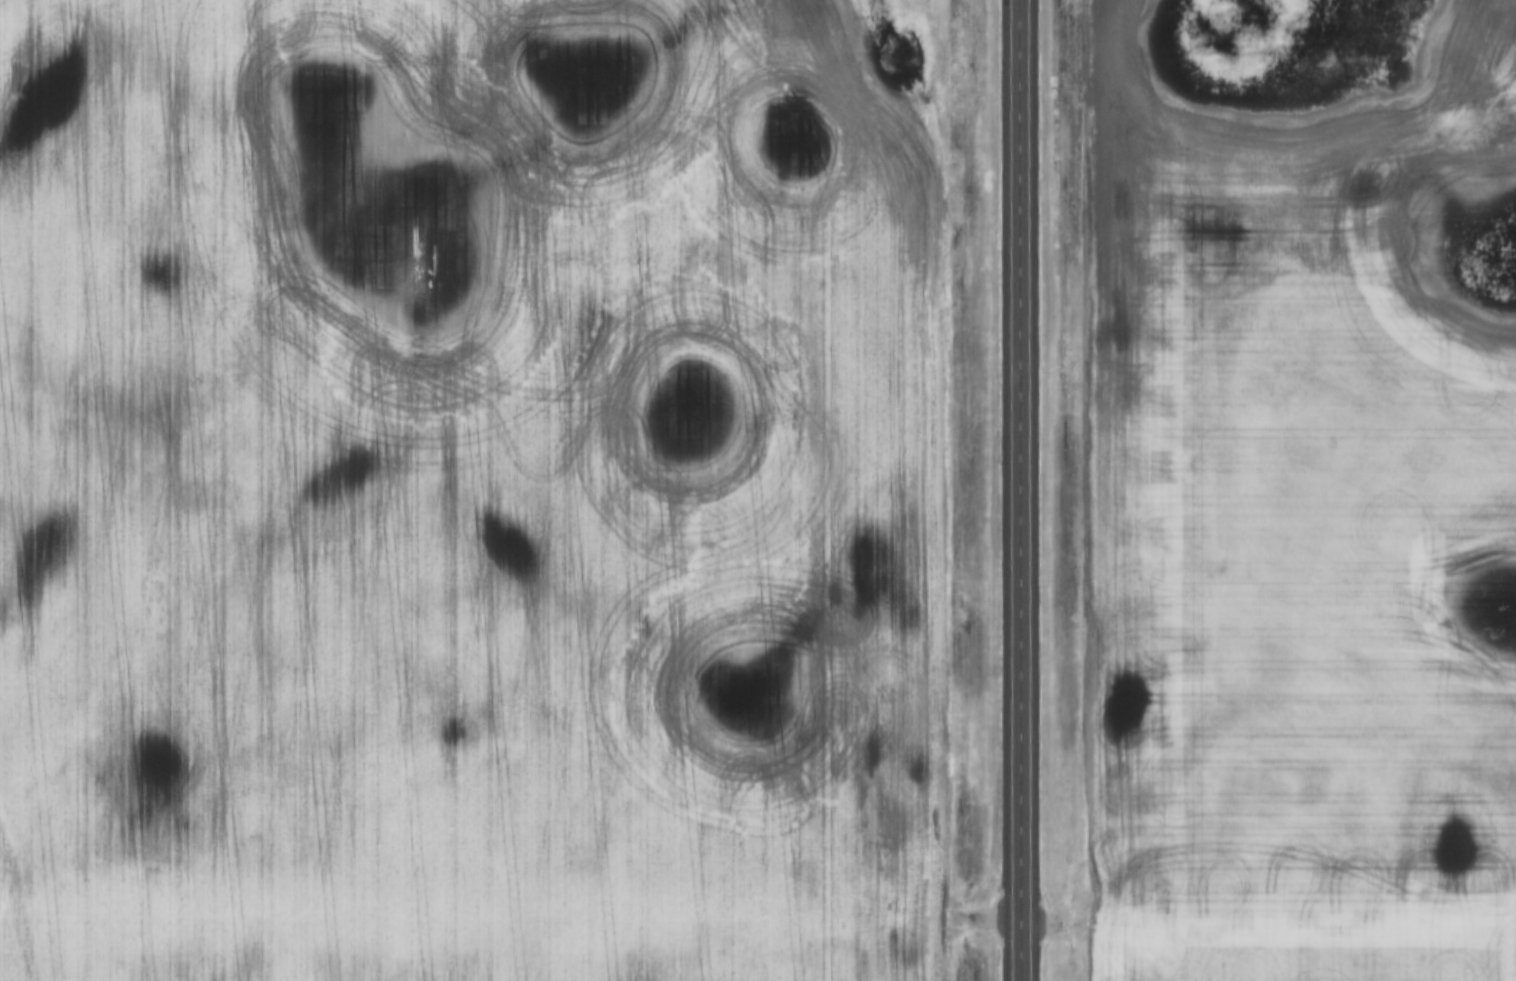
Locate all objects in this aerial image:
road: (1022, 490)

